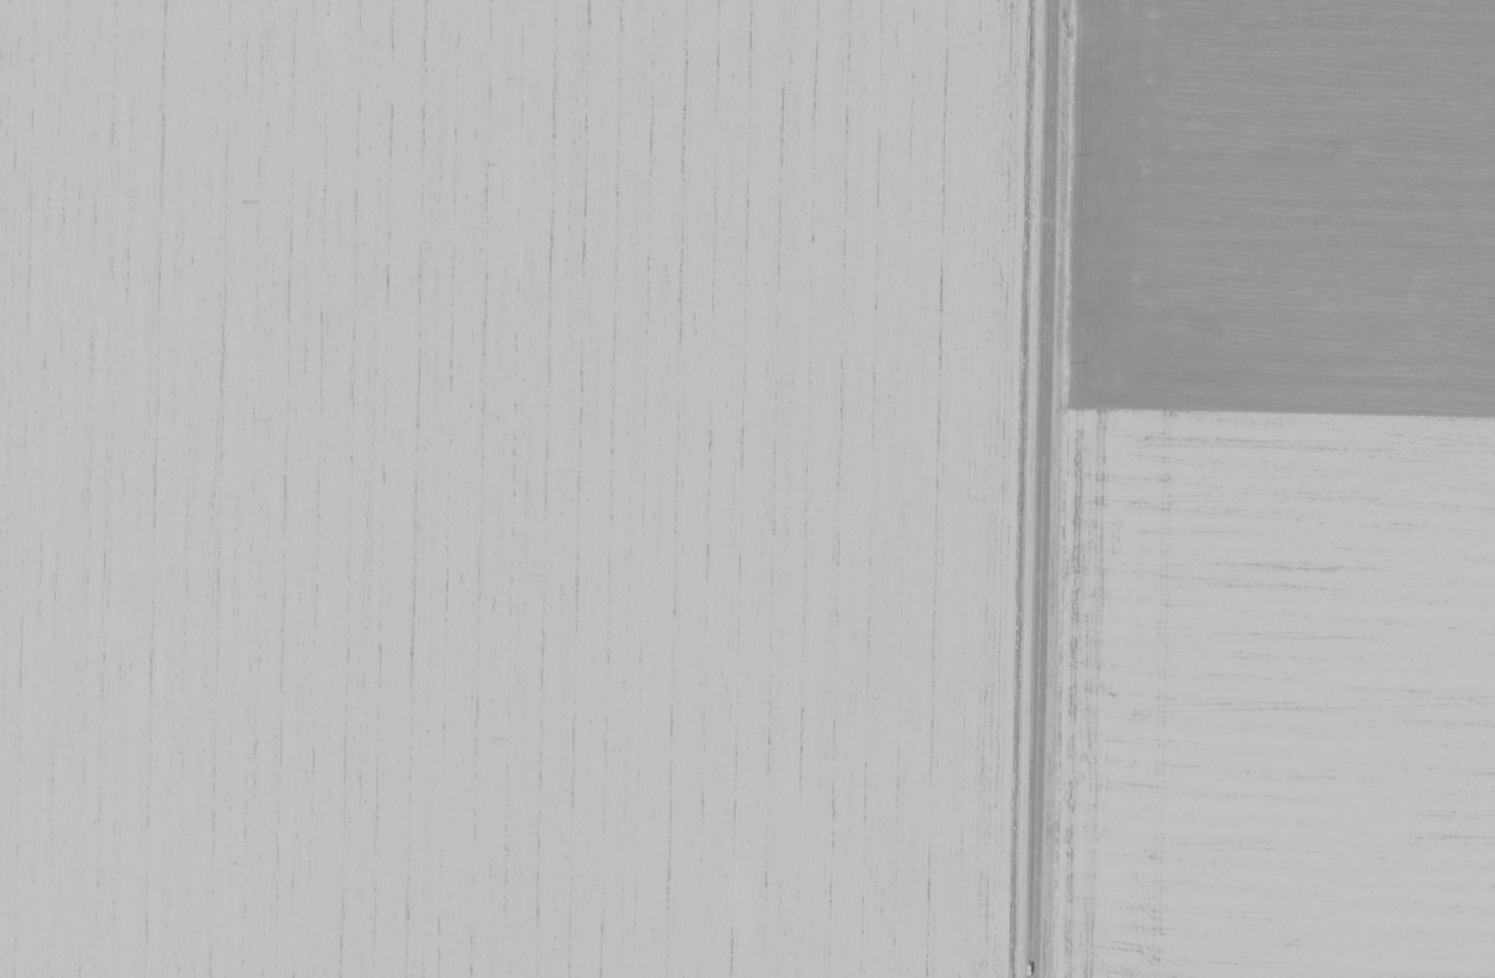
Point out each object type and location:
road: (1042, 489)

